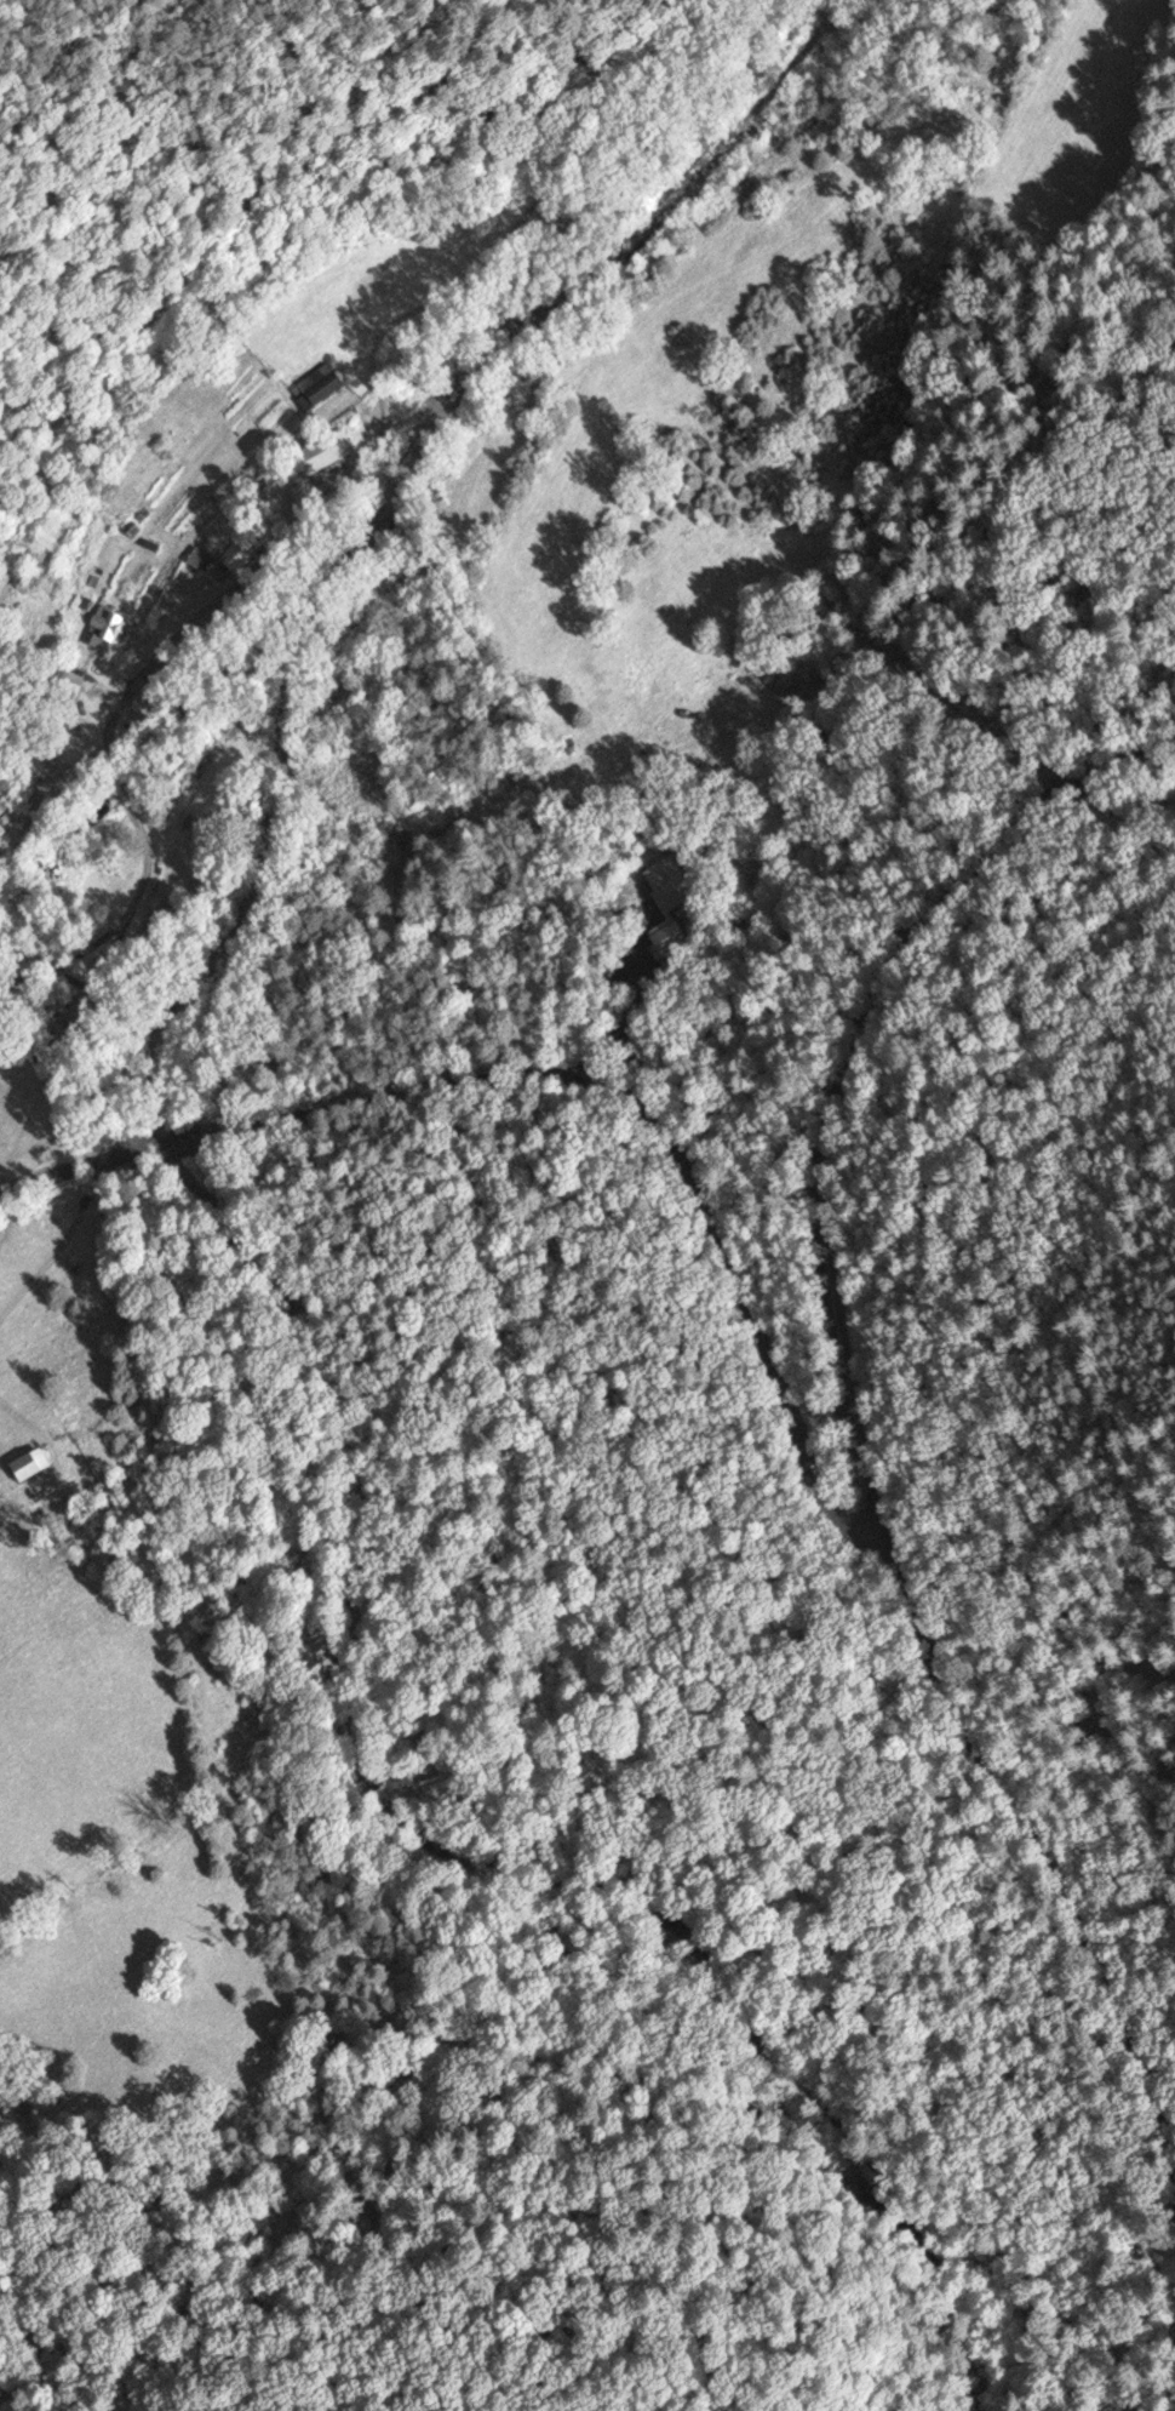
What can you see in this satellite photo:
building: (316, 387)
building: (322, 452)
building: (237, 554)
building: (199, 559)
building: (248, 607)
building: (105, 627)
building: (67, 685)
building: (144, 703)
road: (109, 747)
road: (122, 788)
building: (627, 919)
building: (670, 939)
road: (113, 966)
road: (69, 976)
road: (8, 981)
road: (543, 1015)
road: (847, 1072)
road: (182, 1138)
road: (669, 1138)
road: (71, 1173)
building: (27, 1466)
road: (1039, 1842)

